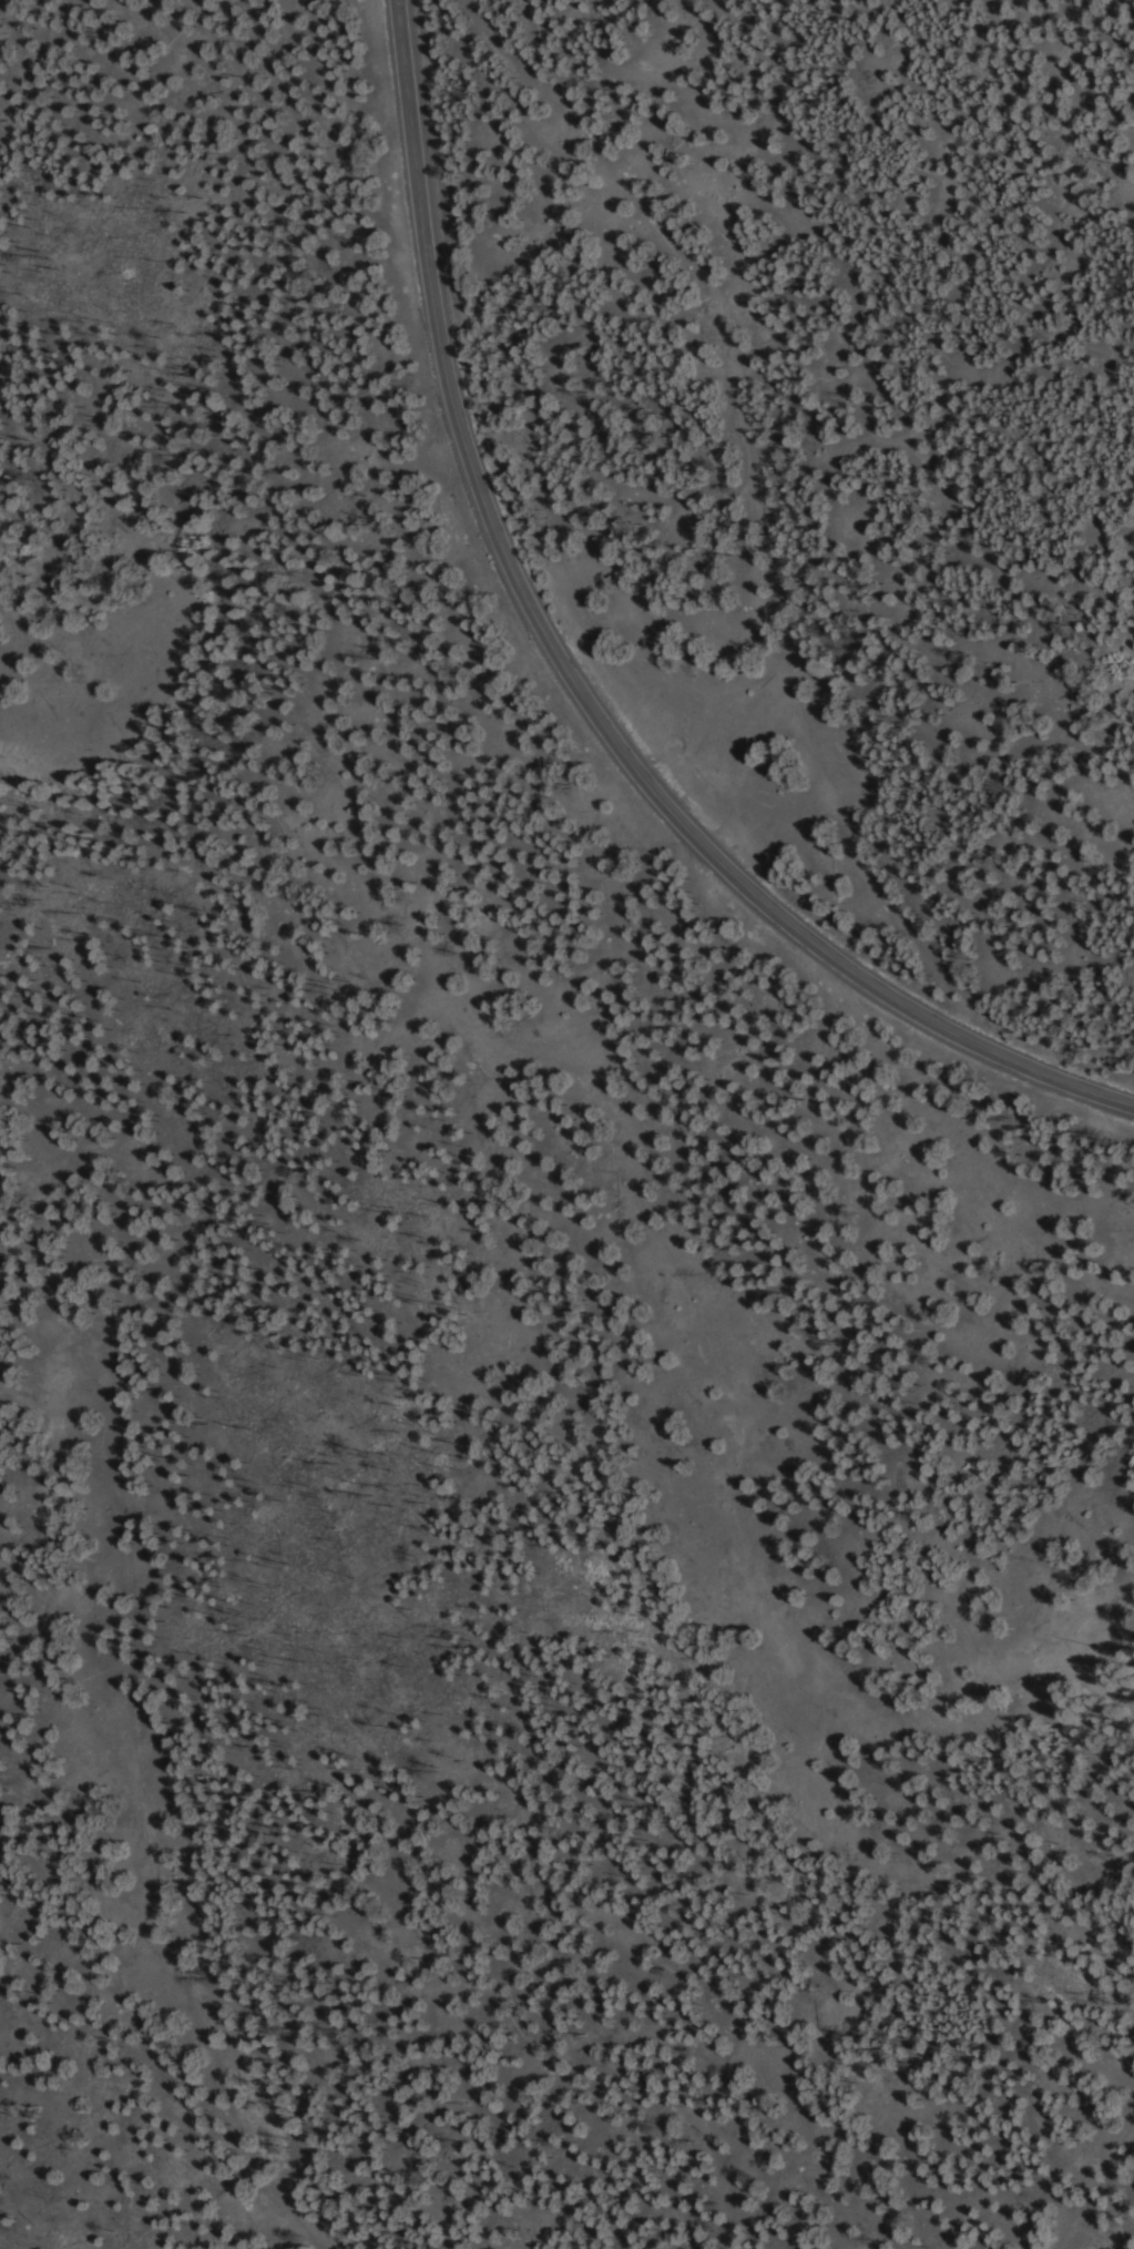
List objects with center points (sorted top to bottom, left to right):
road: (574, 684)

